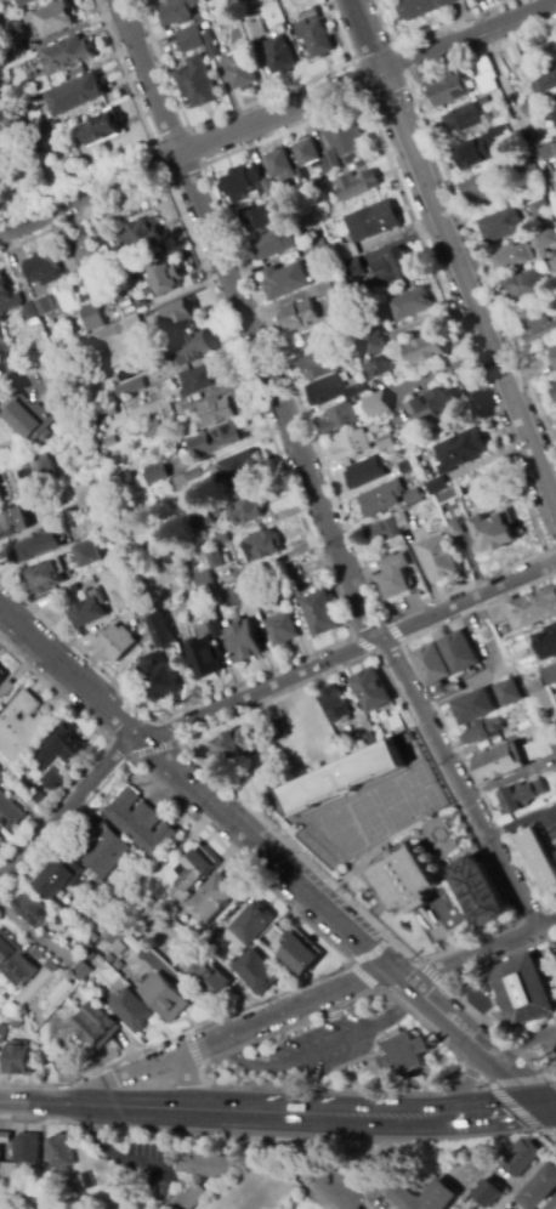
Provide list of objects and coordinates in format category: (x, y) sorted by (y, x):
building: (152, 0)
building: (157, 0)
building: (266, 0)
building: (21, 1)
building: (420, 7)
building: (176, 12)
building: (52, 19)
building: (255, 29)
building: (313, 33)
building: (192, 34)
road: (364, 36)
road: (467, 39)
building: (212, 45)
building: (17, 49)
building: (66, 55)
building: (515, 55)
building: (278, 56)
building: (239, 68)
building: (486, 75)
building: (545, 81)
building: (197, 84)
building: (448, 91)
building: (72, 92)
road: (364, 101)
building: (483, 103)
building: (531, 108)
building: (555, 117)
building: (463, 120)
road: (520, 123)
building: (49, 127)
building: (100, 129)
building: (498, 132)
building: (345, 140)
building: (38, 142)
road: (144, 144)
road: (188, 148)
building: (546, 151)
building: (306, 153)
building: (471, 154)
building: (331, 160)
building: (518, 163)
building: (279, 164)
building: (323, 166)
building: (299, 176)
building: (244, 185)
building: (356, 186)
building: (484, 186)
road: (13, 189)
building: (305, 192)
road: (452, 192)
building: (538, 210)
building: (308, 215)
building: (254, 220)
building: (501, 226)
building: (367, 227)
building: (140, 237)
building: (544, 240)
building: (272, 244)
building: (322, 248)
building: (79, 252)
building: (510, 260)
building: (551, 266)
building: (352, 268)
building: (391, 268)
building: (45, 269)
building: (286, 280)
building: (170, 283)
building: (328, 288)
building: (524, 288)
road: (467, 289)
building: (7, 297)
building: (410, 305)
building: (44, 306)
building: (29, 312)
building: (178, 314)
building: (98, 316)
building: (297, 316)
building: (327, 319)
building: (132, 324)
building: (539, 329)
building: (373, 342)
building: (191, 348)
building: (426, 350)
building: (61, 351)
building: (554, 352)
building: (148, 357)
building: (319, 357)
road: (6, 363)
building: (376, 368)
building: (200, 379)
building: (555, 385)
building: (129, 388)
building: (327, 390)
building: (353, 390)
building: (554, 393)
building: (0, 399)
building: (378, 405)
building: (438, 405)
building: (109, 409)
building: (219, 410)
building: (27, 420)
building: (339, 420)
building: (147, 430)
building: (216, 439)
building: (387, 441)
building: (109, 443)
building: (351, 445)
building: (458, 456)
building: (6, 458)
building: (407, 466)
building: (39, 467)
building: (234, 471)
building: (154, 473)
road: (306, 473)
building: (365, 473)
building: (186, 479)
building: (446, 495)
building: (413, 496)
building: (381, 498)
building: (245, 511)
building: (208, 517)
building: (401, 520)
building: (13, 523)
road: (305, 523)
building: (391, 528)
building: (375, 530)
building: (494, 532)
building: (72, 535)
building: (219, 540)
building: (260, 545)
building: (39, 550)
road: (552, 550)
building: (441, 554)
building: (212, 557)
building: (62, 567)
building: (295, 577)
building: (396, 577)
building: (203, 579)
building: (239, 594)
building: (282, 595)
building: (526, 609)
building: (319, 611)
building: (87, 613)
building: (214, 628)
building: (159, 629)
building: (280, 629)
road: (393, 632)
building: (481, 634)
building: (242, 640)
building: (110, 642)
road: (363, 646)
building: (540, 646)
building: (460, 653)
building: (204, 657)
building: (432, 665)
building: (158, 675)
building: (550, 675)
building: (1, 677)
building: (475, 681)
building: (370, 688)
building: (7, 692)
road: (256, 692)
building: (509, 693)
building: (538, 696)
building: (354, 697)
building: (334, 702)
building: (475, 706)
road: (435, 708)
building: (523, 720)
building: (21, 726)
building: (277, 731)
building: (482, 731)
road: (102, 745)
building: (233, 745)
building: (552, 745)
building: (535, 747)
road: (152, 748)
building: (58, 749)
building: (498, 764)
building: (1, 777)
building: (344, 778)
building: (53, 779)
building: (555, 787)
building: (518, 796)
building: (38, 799)
building: (8, 813)
building: (141, 824)
building: (1, 840)
building: (103, 848)
building: (537, 856)
road: (273, 862)
building: (131, 868)
building: (192, 875)
building: (59, 878)
building: (405, 881)
building: (480, 892)
building: (134, 895)
building: (212, 899)
building: (32, 910)
road: (367, 916)
road: (303, 923)
building: (253, 924)
road: (36, 937)
building: (117, 938)
building: (86, 944)
building: (134, 944)
road: (477, 952)
building: (297, 953)
building: (15, 958)
building: (109, 959)
road: (351, 960)
building: (81, 971)
building: (256, 972)
road: (431, 974)
building: (0, 975)
building: (209, 978)
building: (521, 989)
building: (61, 992)
road: (453, 993)
building: (164, 997)
road: (288, 1009)
building: (134, 1011)
building: (97, 1026)
building: (2, 1034)
road: (319, 1049)
road: (191, 1050)
building: (404, 1054)
building: (18, 1060)
road: (124, 1074)
road: (524, 1080)
road: (187, 1083)
road: (289, 1090)
road: (507, 1101)
road: (34, 1103)
road: (132, 1107)
road: (552, 1107)
traffic signals: (550, 1108)
road: (552, 1111)
road: (374, 1114)
building: (4, 1140)
building: (28, 1148)
building: (61, 1152)
road: (117, 1156)
building: (521, 1156)
building: (208, 1165)
building: (46, 1170)
building: (10, 1171)
building: (539, 1187)
building: (489, 1192)
building: (426, 1197)
building: (189, 1199)
road: (344, 1202)
building: (552, 1204)
road: (0, 1208)
building: (67, 1208)

